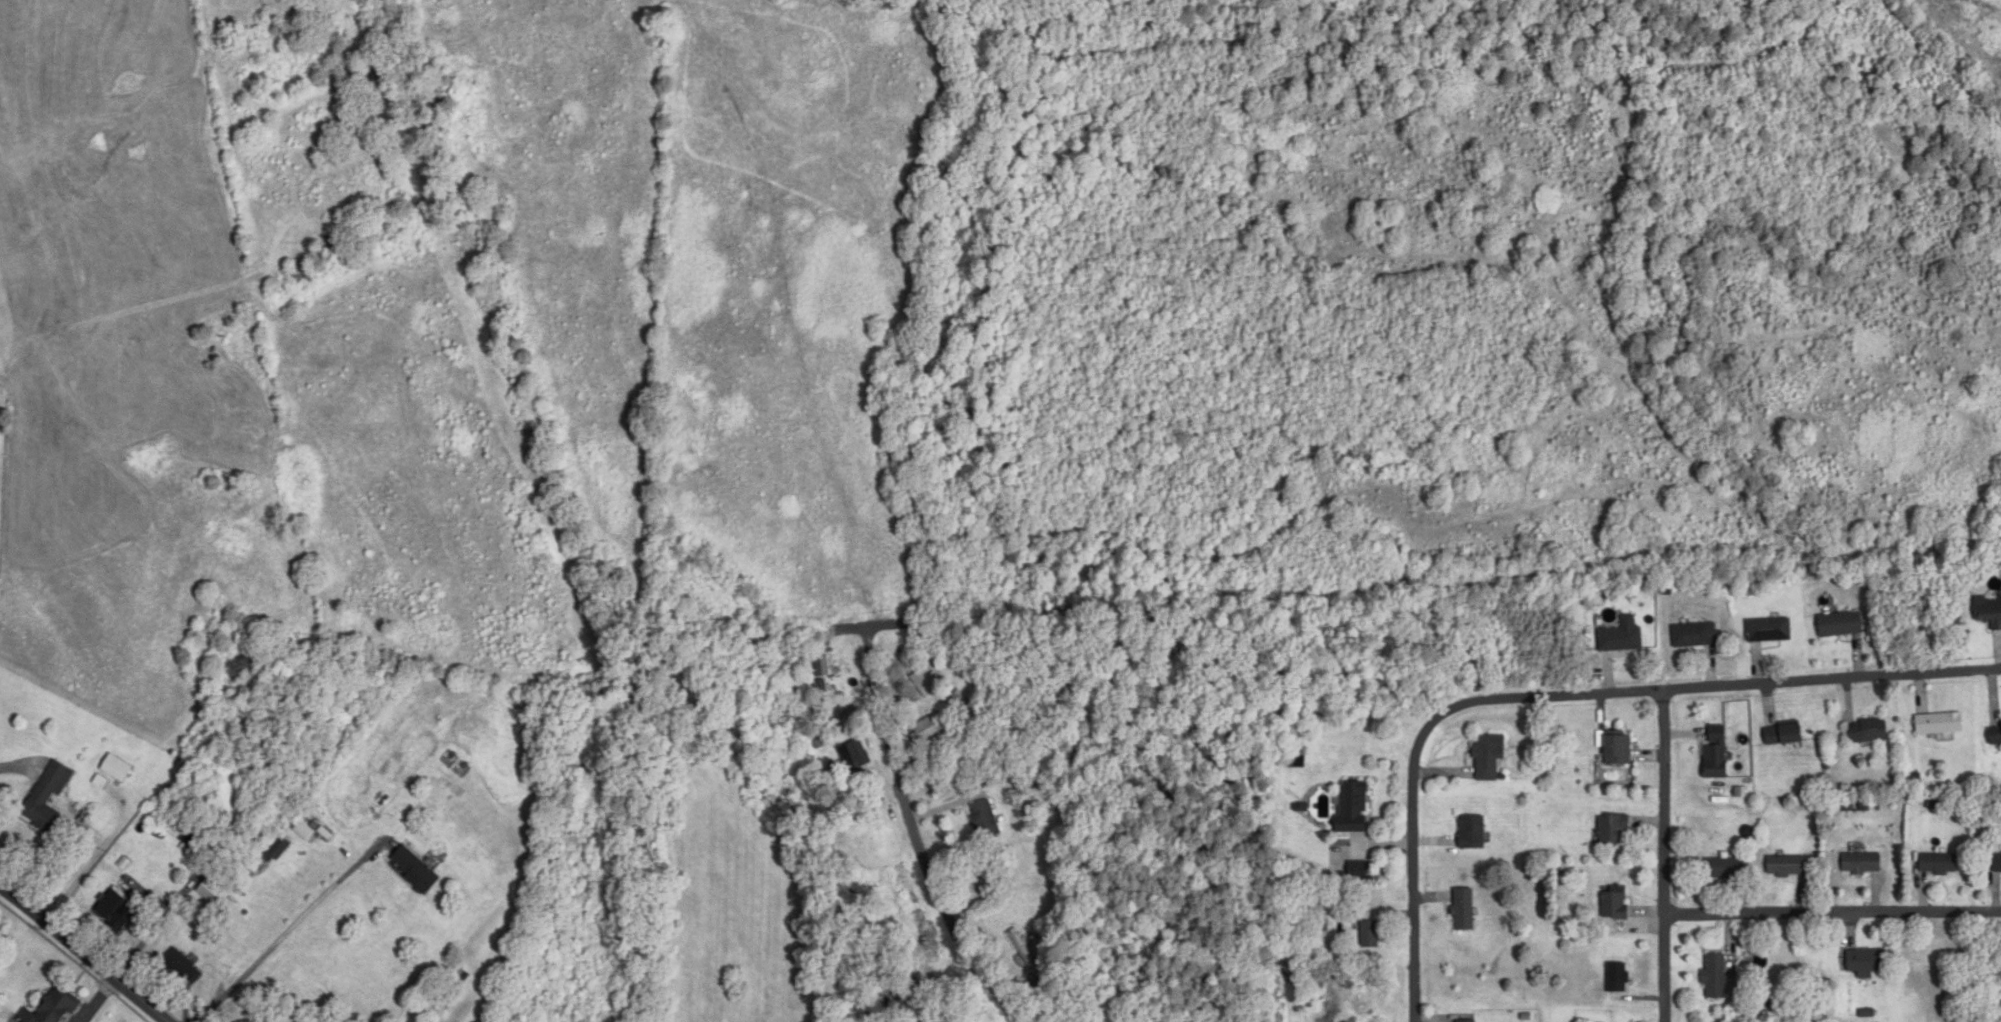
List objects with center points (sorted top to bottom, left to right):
building: (1989, 612)
building: (1841, 625)
building: (1769, 631)
building: (1695, 636)
building: (1621, 640)
building: (241, 668)
building: (925, 683)
road: (1715, 687)
building: (1940, 725)
building: (929, 730)
building: (1867, 731)
building: (1995, 734)
building: (1783, 736)
building: (1618, 749)
building: (1715, 753)
building: (855, 757)
building: (1489, 757)
building: (117, 770)
building: (47, 796)
road: (144, 804)
building: (1352, 808)
building: (985, 820)
building: (1612, 829)
building: (305, 832)
building: (187, 833)
building: (1472, 833)
building: (275, 849)
road: (1664, 855)
building: (1862, 864)
building: (1939, 864)
building: (1997, 865)
road: (1416, 866)
building: (1787, 866)
building: (1724, 869)
building: (415, 870)
building: (1358, 871)
building: (214, 886)
building: (1615, 903)
road: (953, 906)
building: (117, 909)
building: (1464, 910)
road: (1833, 913)
road: (290, 929)
building: (1370, 934)
building: (1023, 948)
road: (85, 952)
building: (1866, 962)
building: (183, 967)
building: (1715, 976)
building: (1618, 978)
building: (54, 1008)
building: (1466, 1021)

